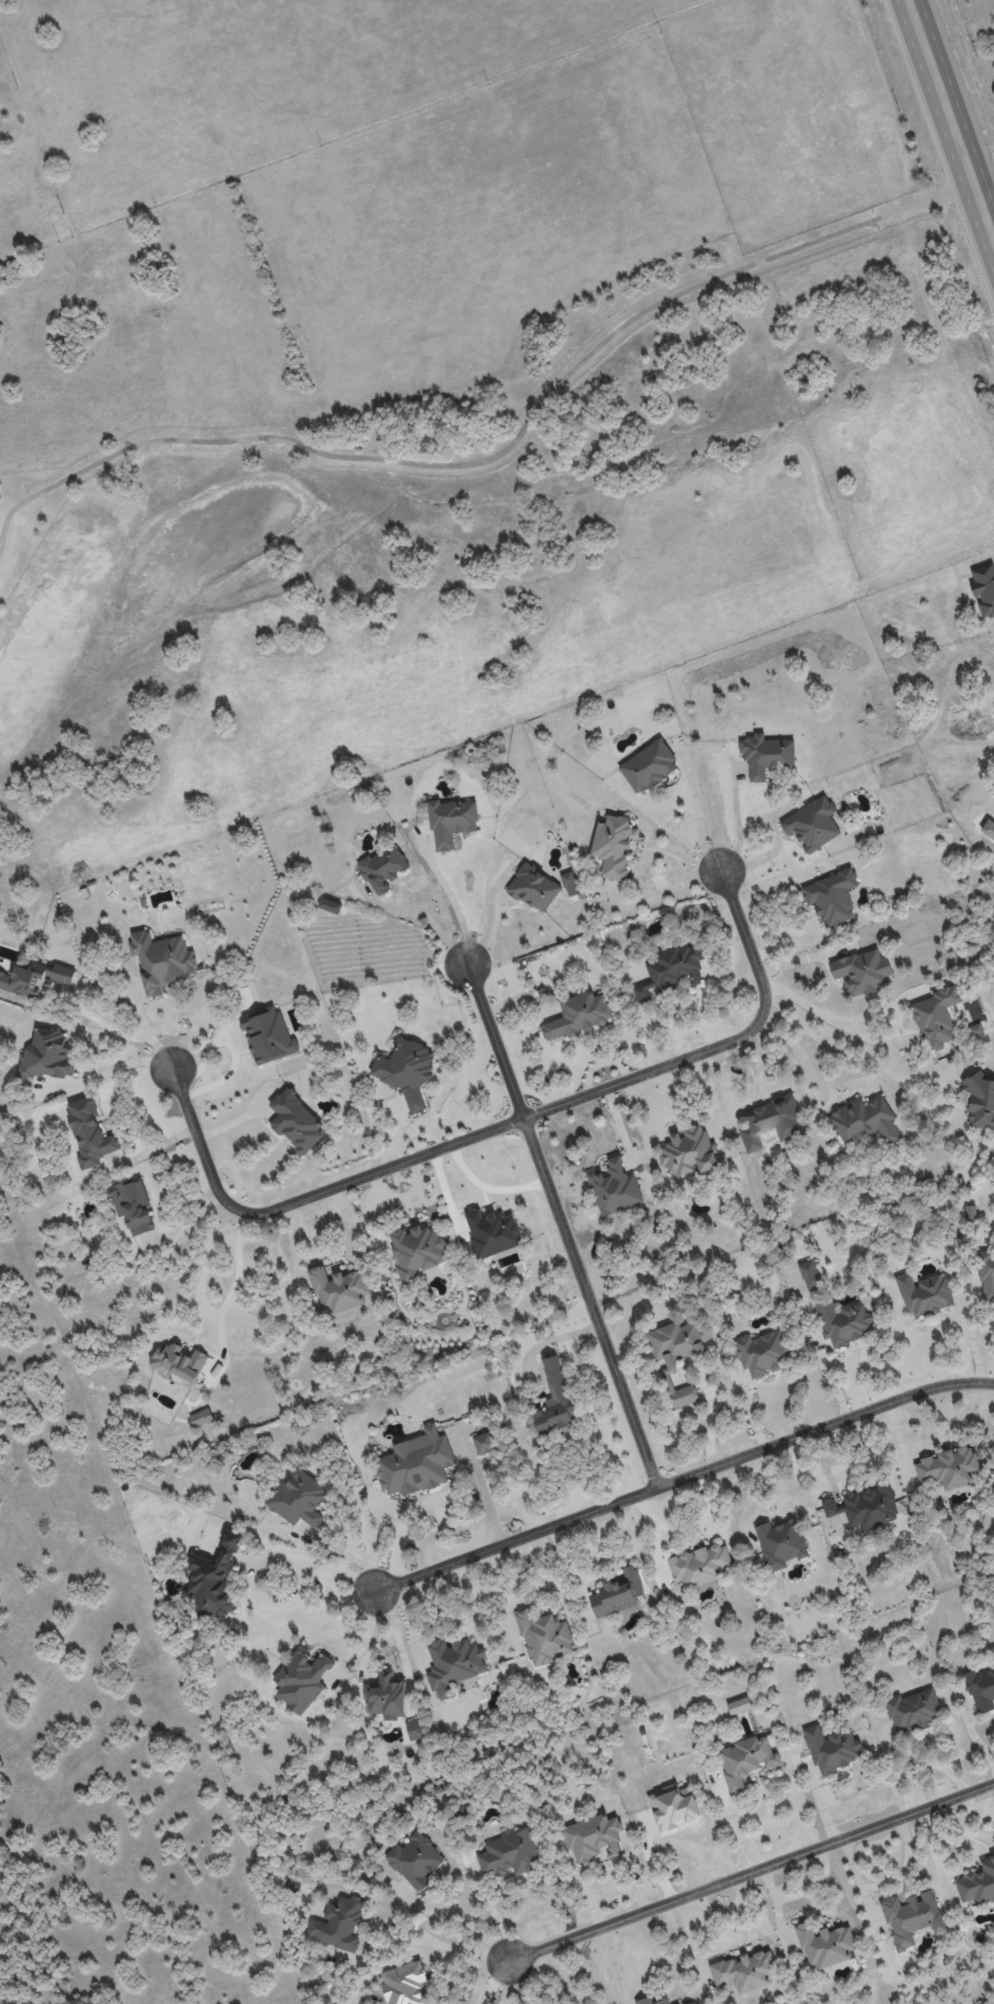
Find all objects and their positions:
road: (949, 120)
road: (505, 448)
building: (766, 754)
building: (648, 766)
building: (451, 821)
building: (812, 824)
road: (700, 826)
road: (738, 830)
building: (612, 845)
building: (383, 868)
building: (569, 884)
road: (672, 887)
building: (533, 888)
building: (832, 897)
building: (330, 906)
road: (456, 907)
road: (434, 922)
road: (488, 925)
building: (161, 960)
building: (671, 970)
building: (861, 971)
building: (34, 978)
road: (812, 1002)
building: (577, 1016)
building: (936, 1017)
road: (149, 1022)
building: (975, 1029)
road: (124, 1030)
building: (267, 1034)
road: (836, 1042)
road: (756, 1043)
building: (47, 1052)
road: (759, 1064)
road: (116, 1068)
building: (406, 1070)
road: (813, 1075)
building: (980, 1101)
building: (864, 1121)
building: (296, 1122)
building: (770, 1122)
road: (501, 1125)
building: (89, 1133)
road: (155, 1148)
building: (689, 1152)
road: (487, 1187)
building: (614, 1187)
building: (133, 1206)
building: (970, 1213)
road: (563, 1225)
building: (492, 1233)
building: (416, 1251)
building: (810, 1274)
building: (987, 1276)
road: (239, 1279)
road: (205, 1283)
building: (338, 1290)
building: (925, 1295)
building: (844, 1321)
building: (674, 1343)
road: (974, 1344)
road: (909, 1348)
building: (761, 1353)
building: (180, 1361)
road: (827, 1376)
building: (684, 1396)
building: (555, 1399)
building: (201, 1418)
building: (484, 1442)
building: (415, 1463)
building: (948, 1467)
road: (684, 1476)
building: (298, 1499)
building: (866, 1505)
building: (780, 1544)
road: (349, 1551)
building: (700, 1564)
road: (318, 1565)
building: (214, 1579)
building: (617, 1594)
road: (280, 1595)
road: (409, 1618)
road: (387, 1634)
road: (365, 1637)
building: (544, 1637)
building: (453, 1664)
building: (304, 1675)
building: (981, 1689)
building: (386, 1696)
building: (738, 1706)
building: (913, 1711)
building: (413, 1729)
building: (831, 1748)
building: (746, 1760)
building: (673, 1806)
road: (966, 1831)
building: (592, 1838)
building: (509, 1854)
road: (933, 1854)
building: (415, 1860)
road: (750, 1870)
road: (582, 1882)
building: (978, 1884)
road: (627, 1885)
road: (493, 1910)
building: (911, 1916)
building: (338, 1924)
road: (472, 1925)
road: (454, 1942)
building: (825, 1945)
building: (744, 1972)
road: (522, 1979)
road: (495, 1981)
building: (404, 1984)
building: (650, 2001)
building: (690, 2003)

